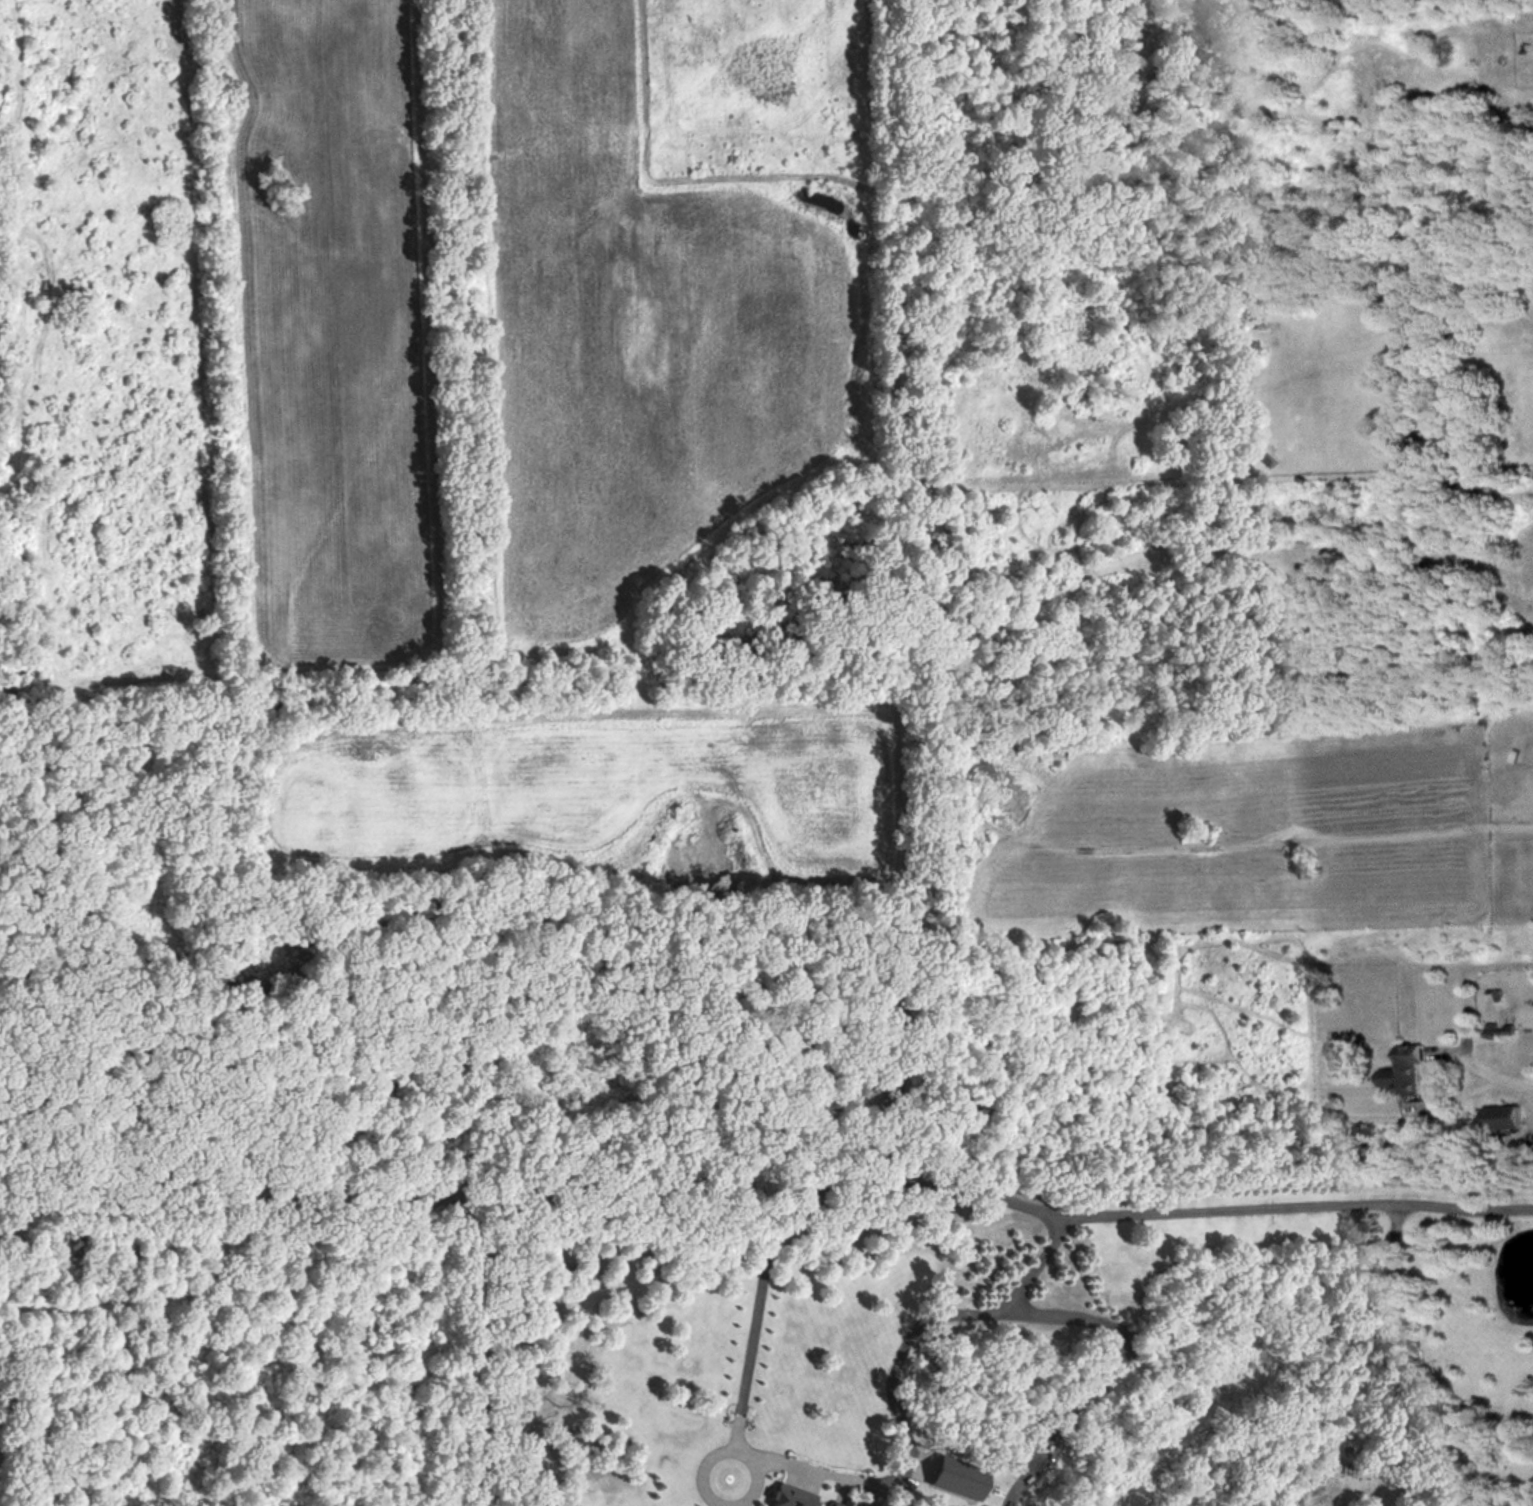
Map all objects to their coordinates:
building: (1404, 1069)
road: (1439, 1073)
road: (1517, 1079)
building: (1502, 1116)
road: (1299, 1202)
road: (1106, 1369)
road: (731, 1462)

